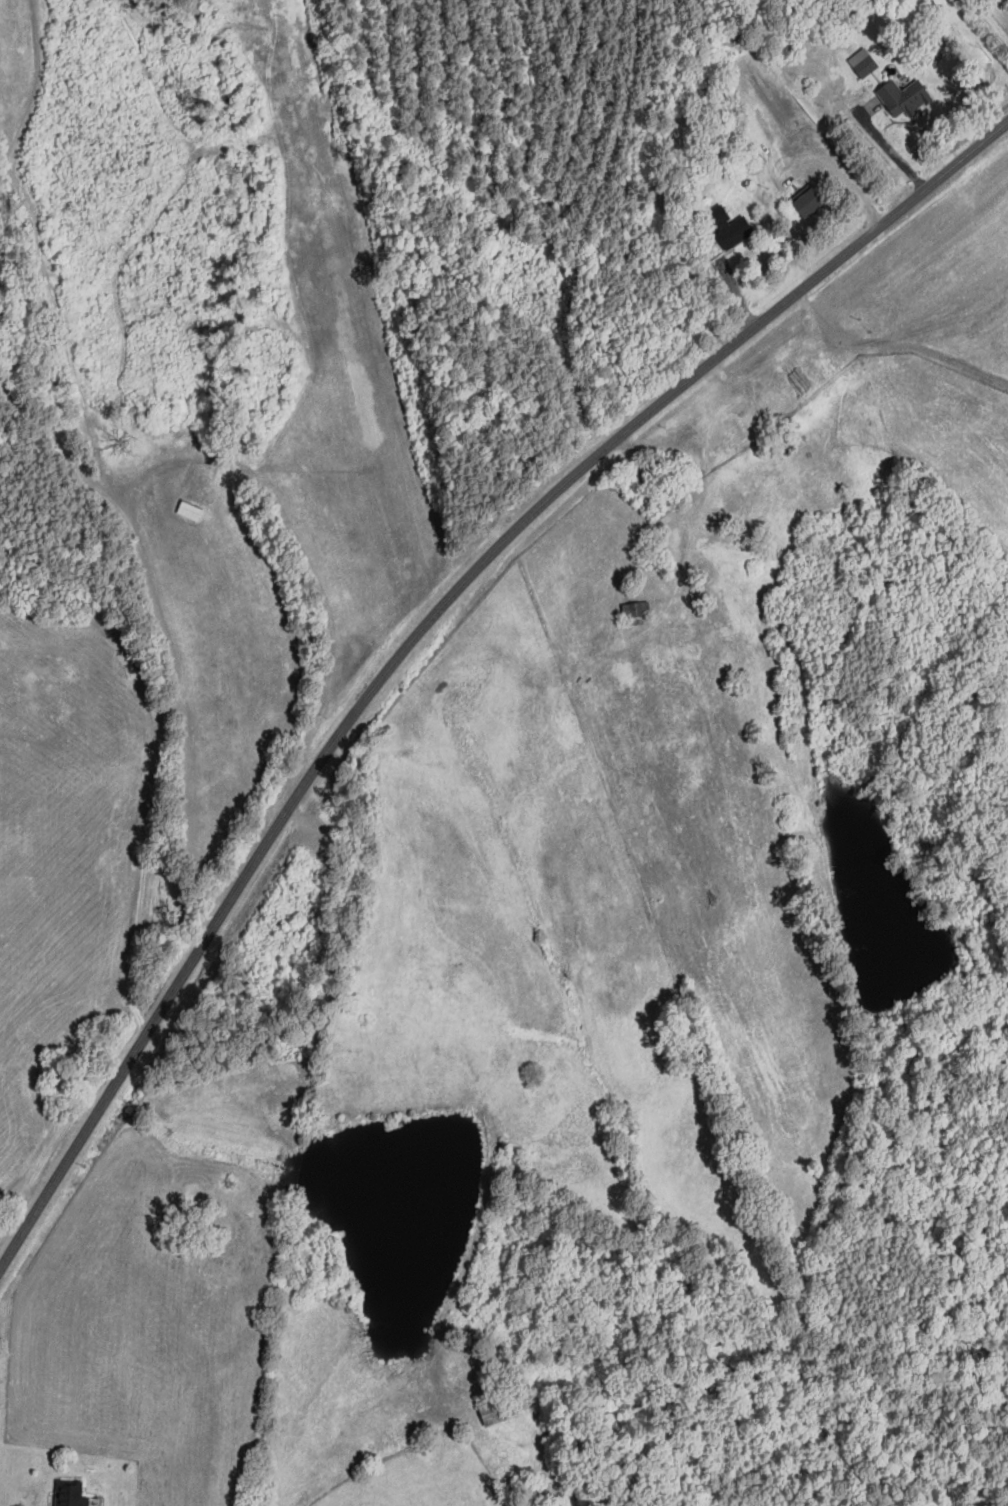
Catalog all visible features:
road: (992, 18)
building: (864, 62)
building: (905, 98)
building: (812, 202)
building: (728, 227)
road: (202, 358)
building: (653, 478)
building: (638, 609)
road: (424, 625)
road: (150, 779)
building: (501, 1408)
building: (71, 1493)

